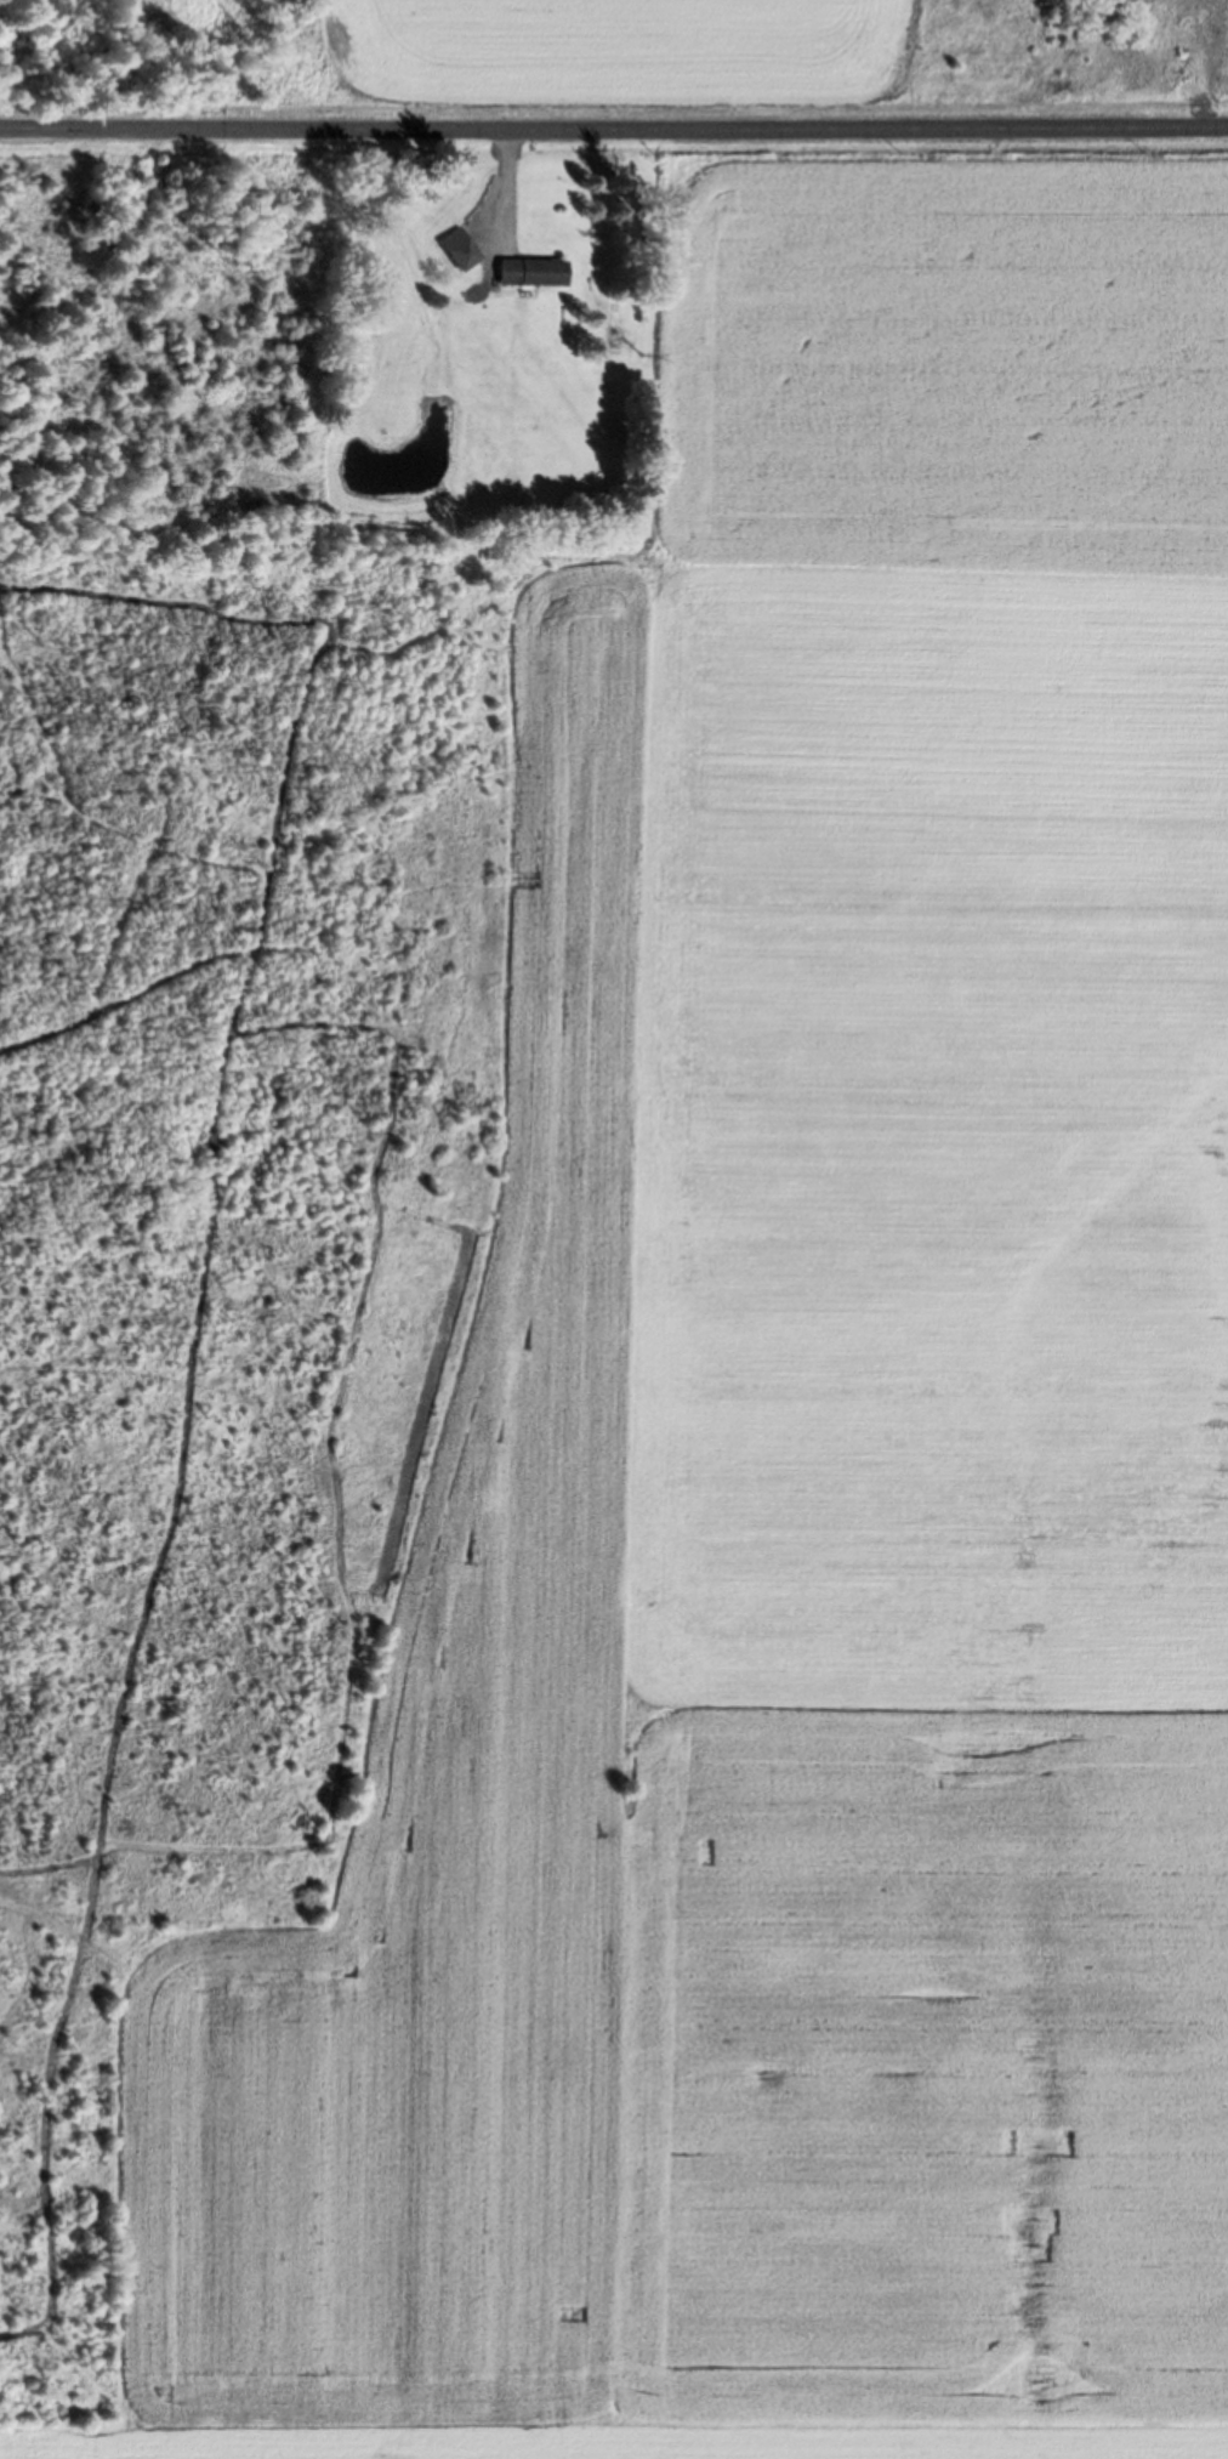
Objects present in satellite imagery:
road: (613, 127)
building: (459, 248)
building: (521, 272)

